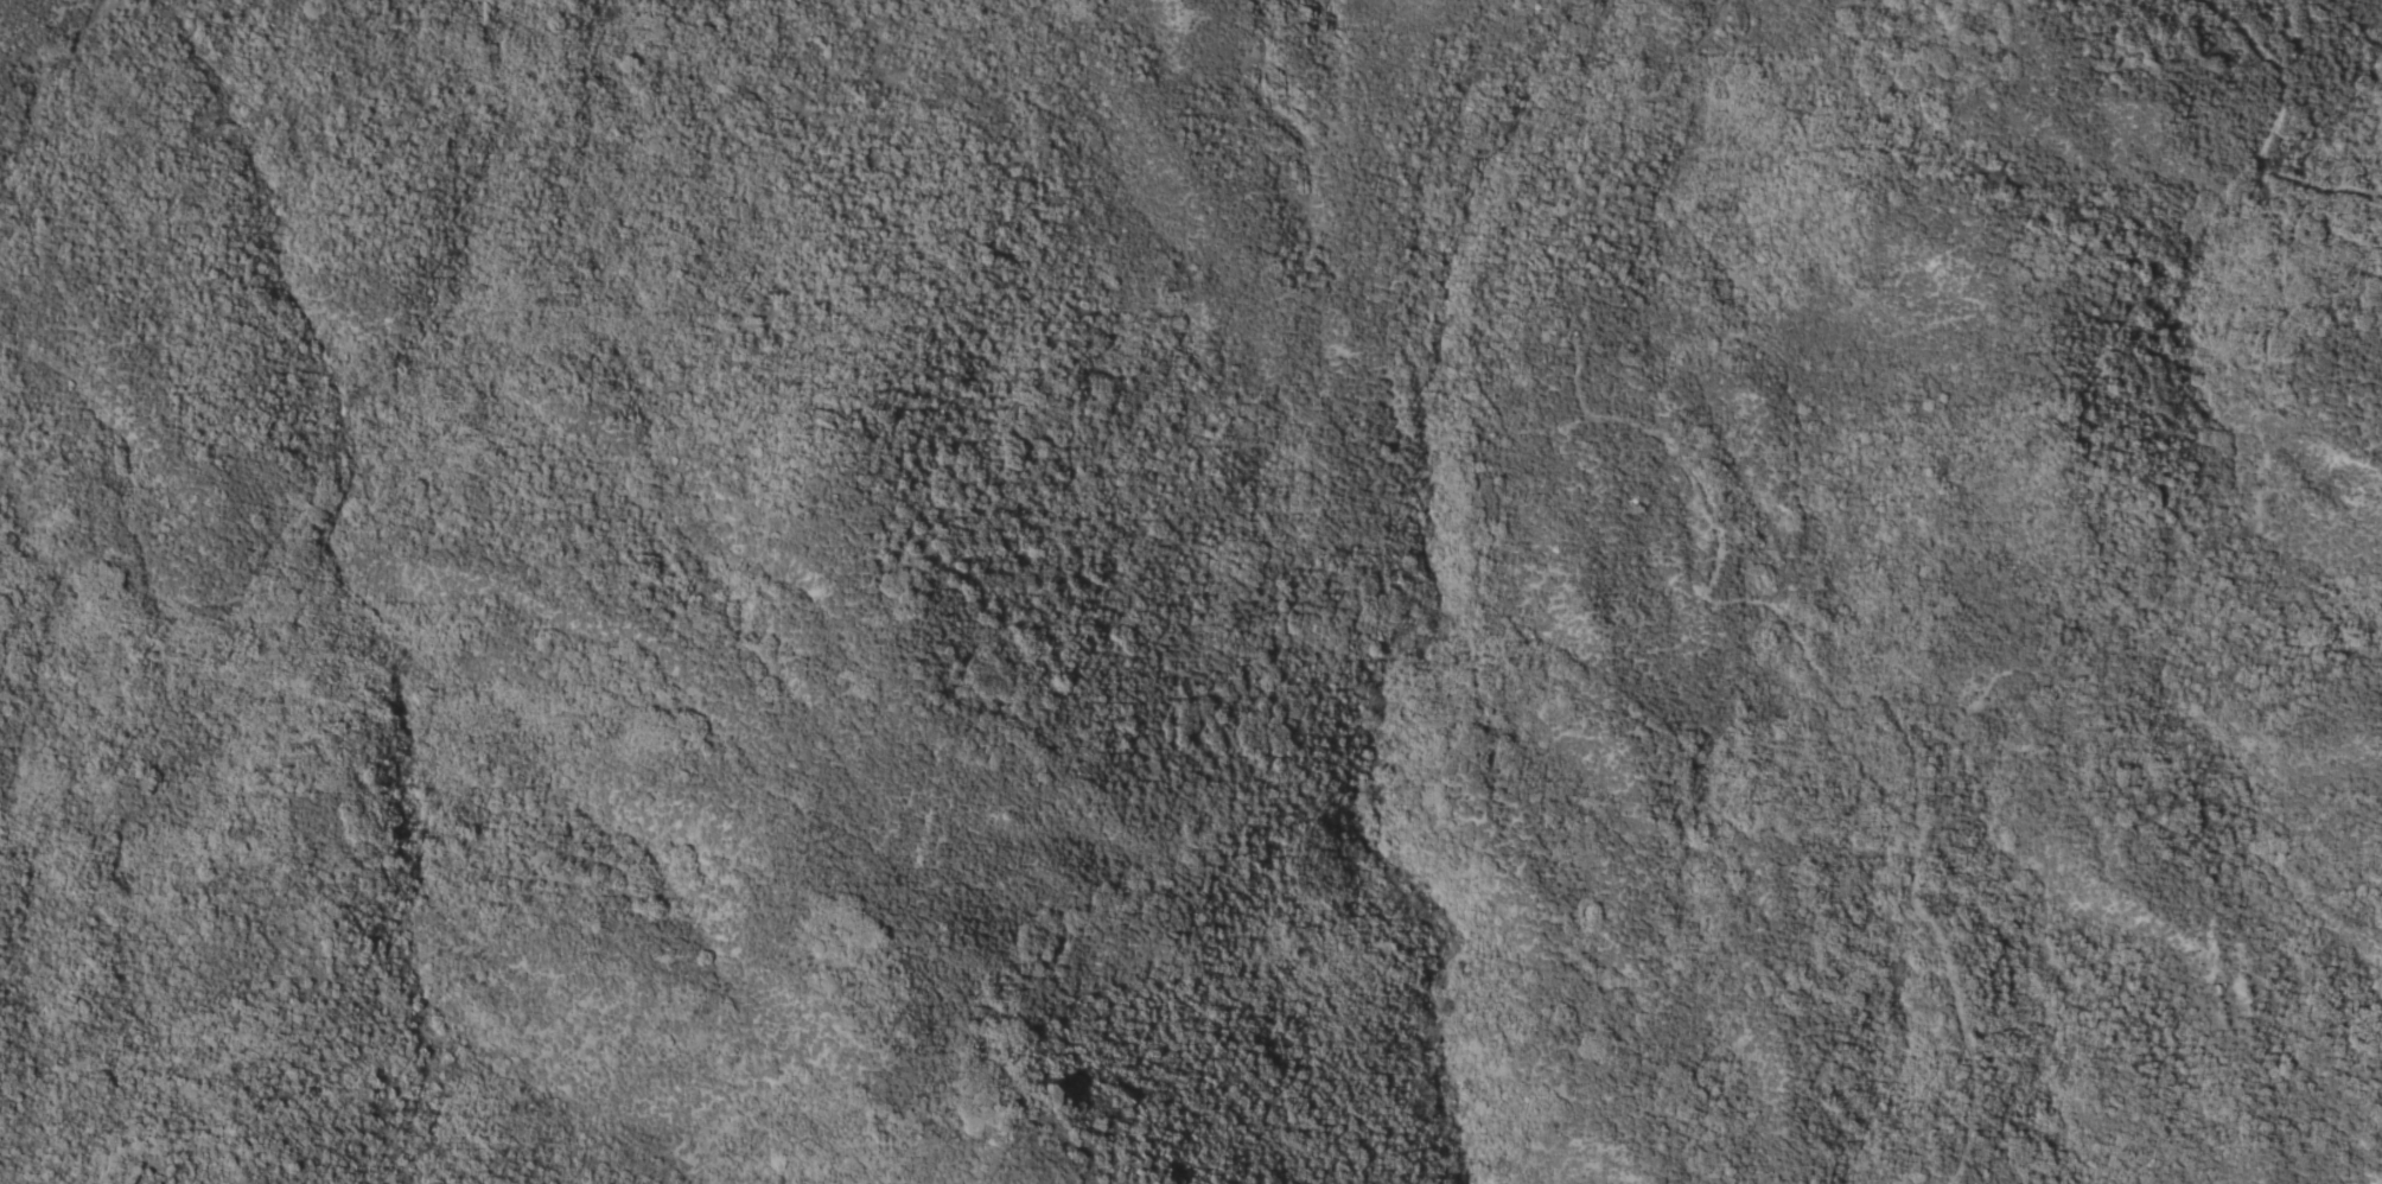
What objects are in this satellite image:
road: (2267, 129)

